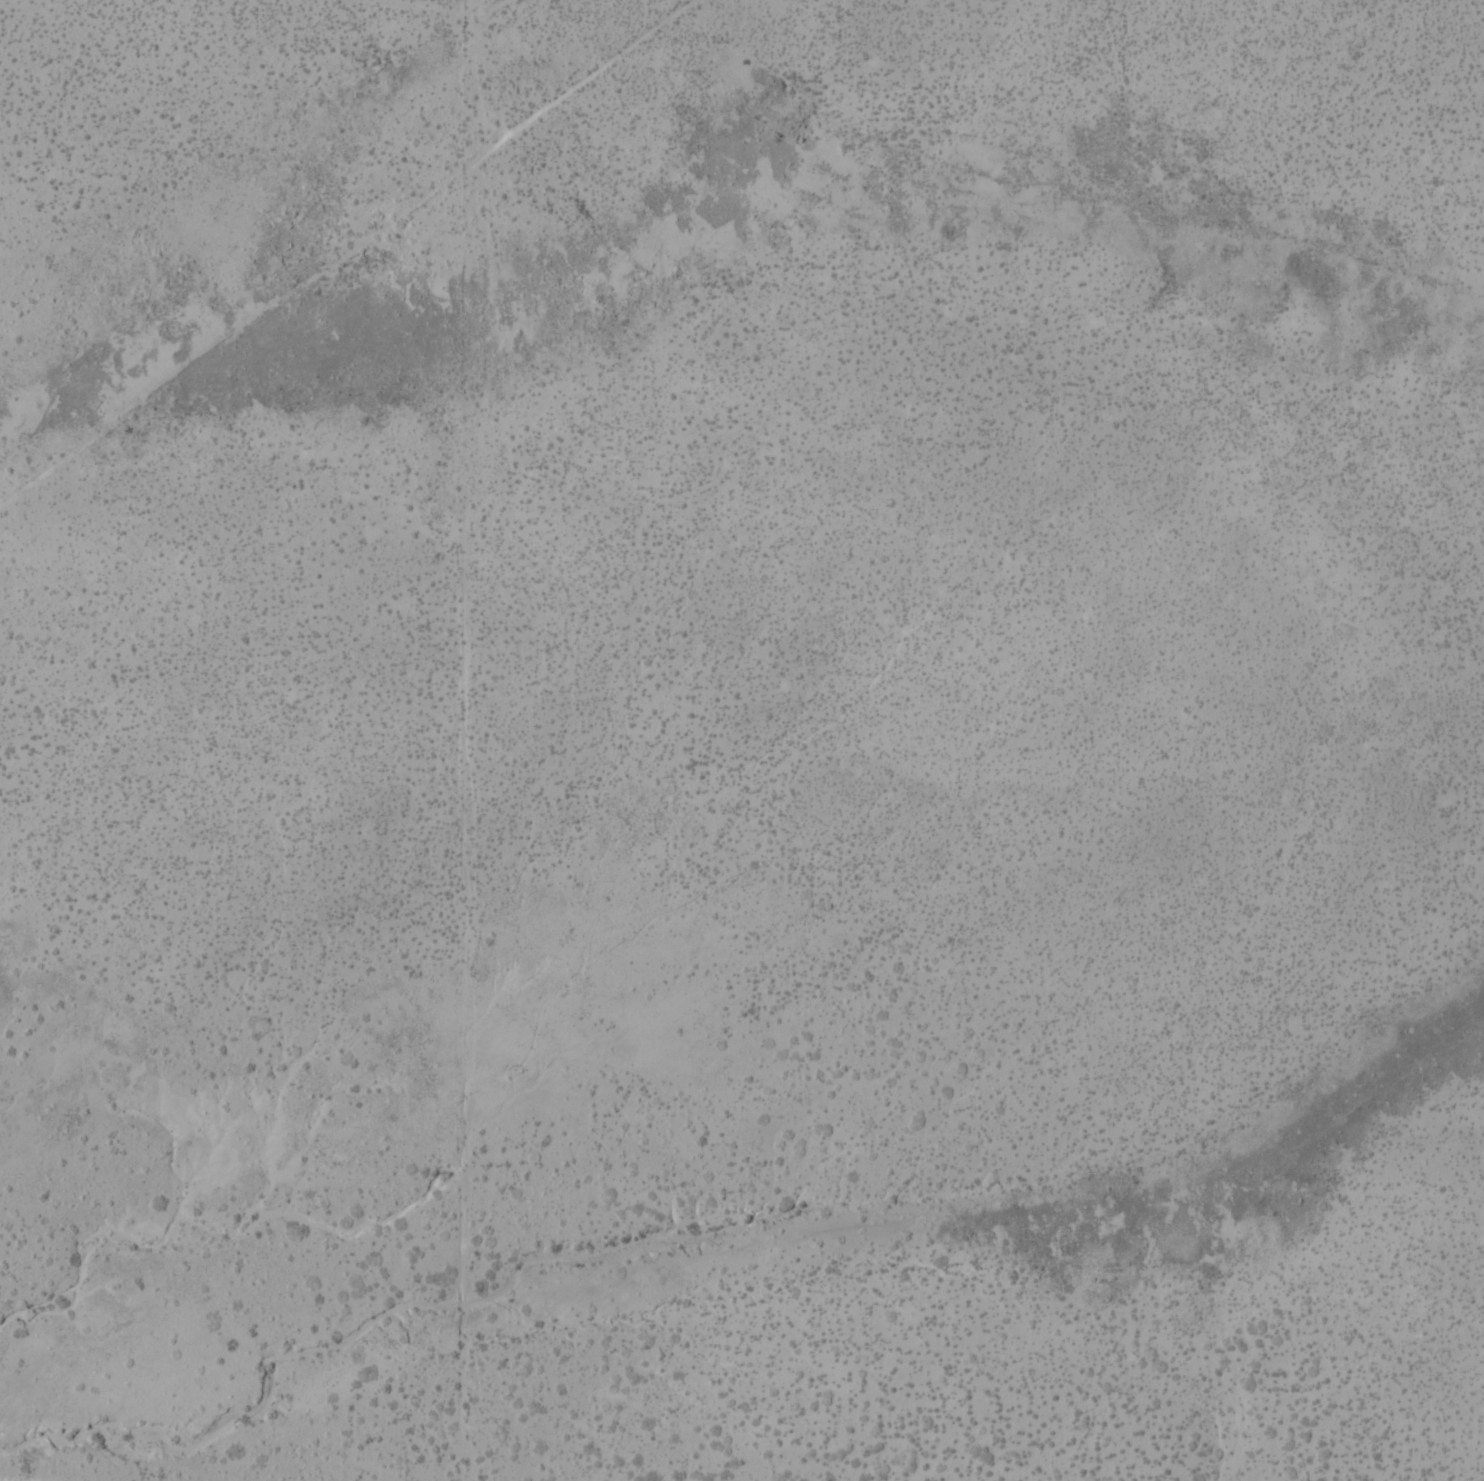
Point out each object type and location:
road: (388, 18)

